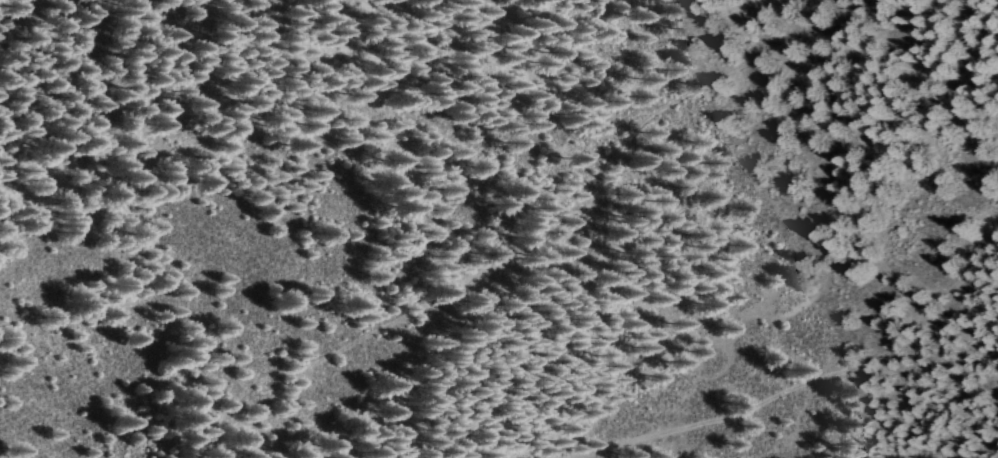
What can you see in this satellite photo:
road: (891, 283)

